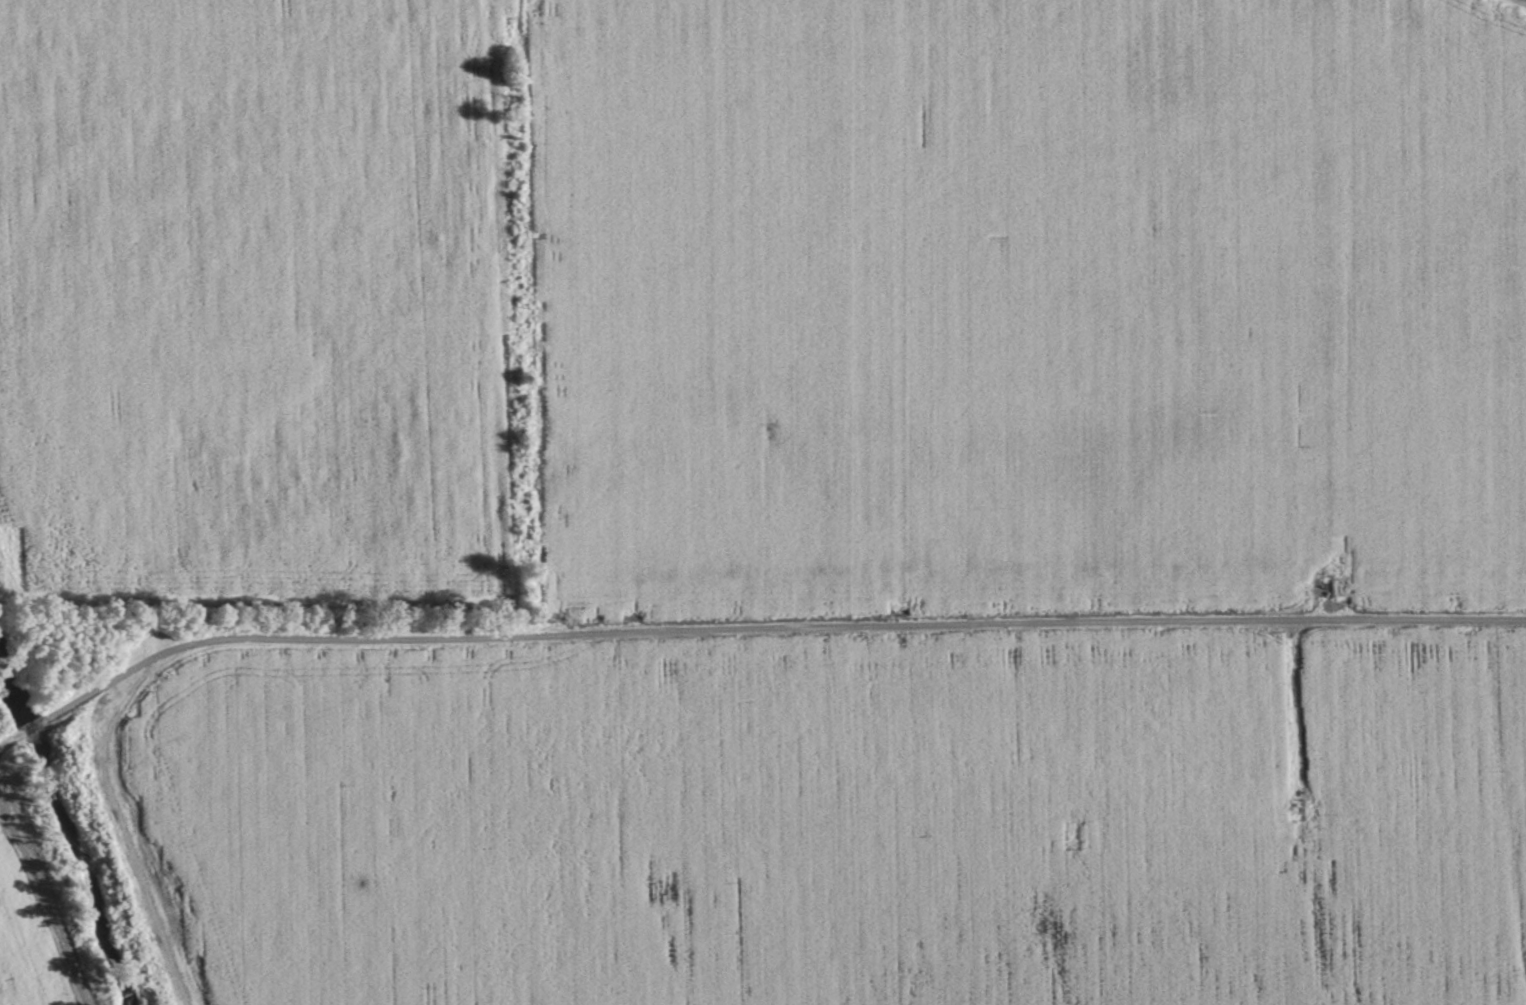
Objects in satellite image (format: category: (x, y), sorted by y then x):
road: (611, 628)

